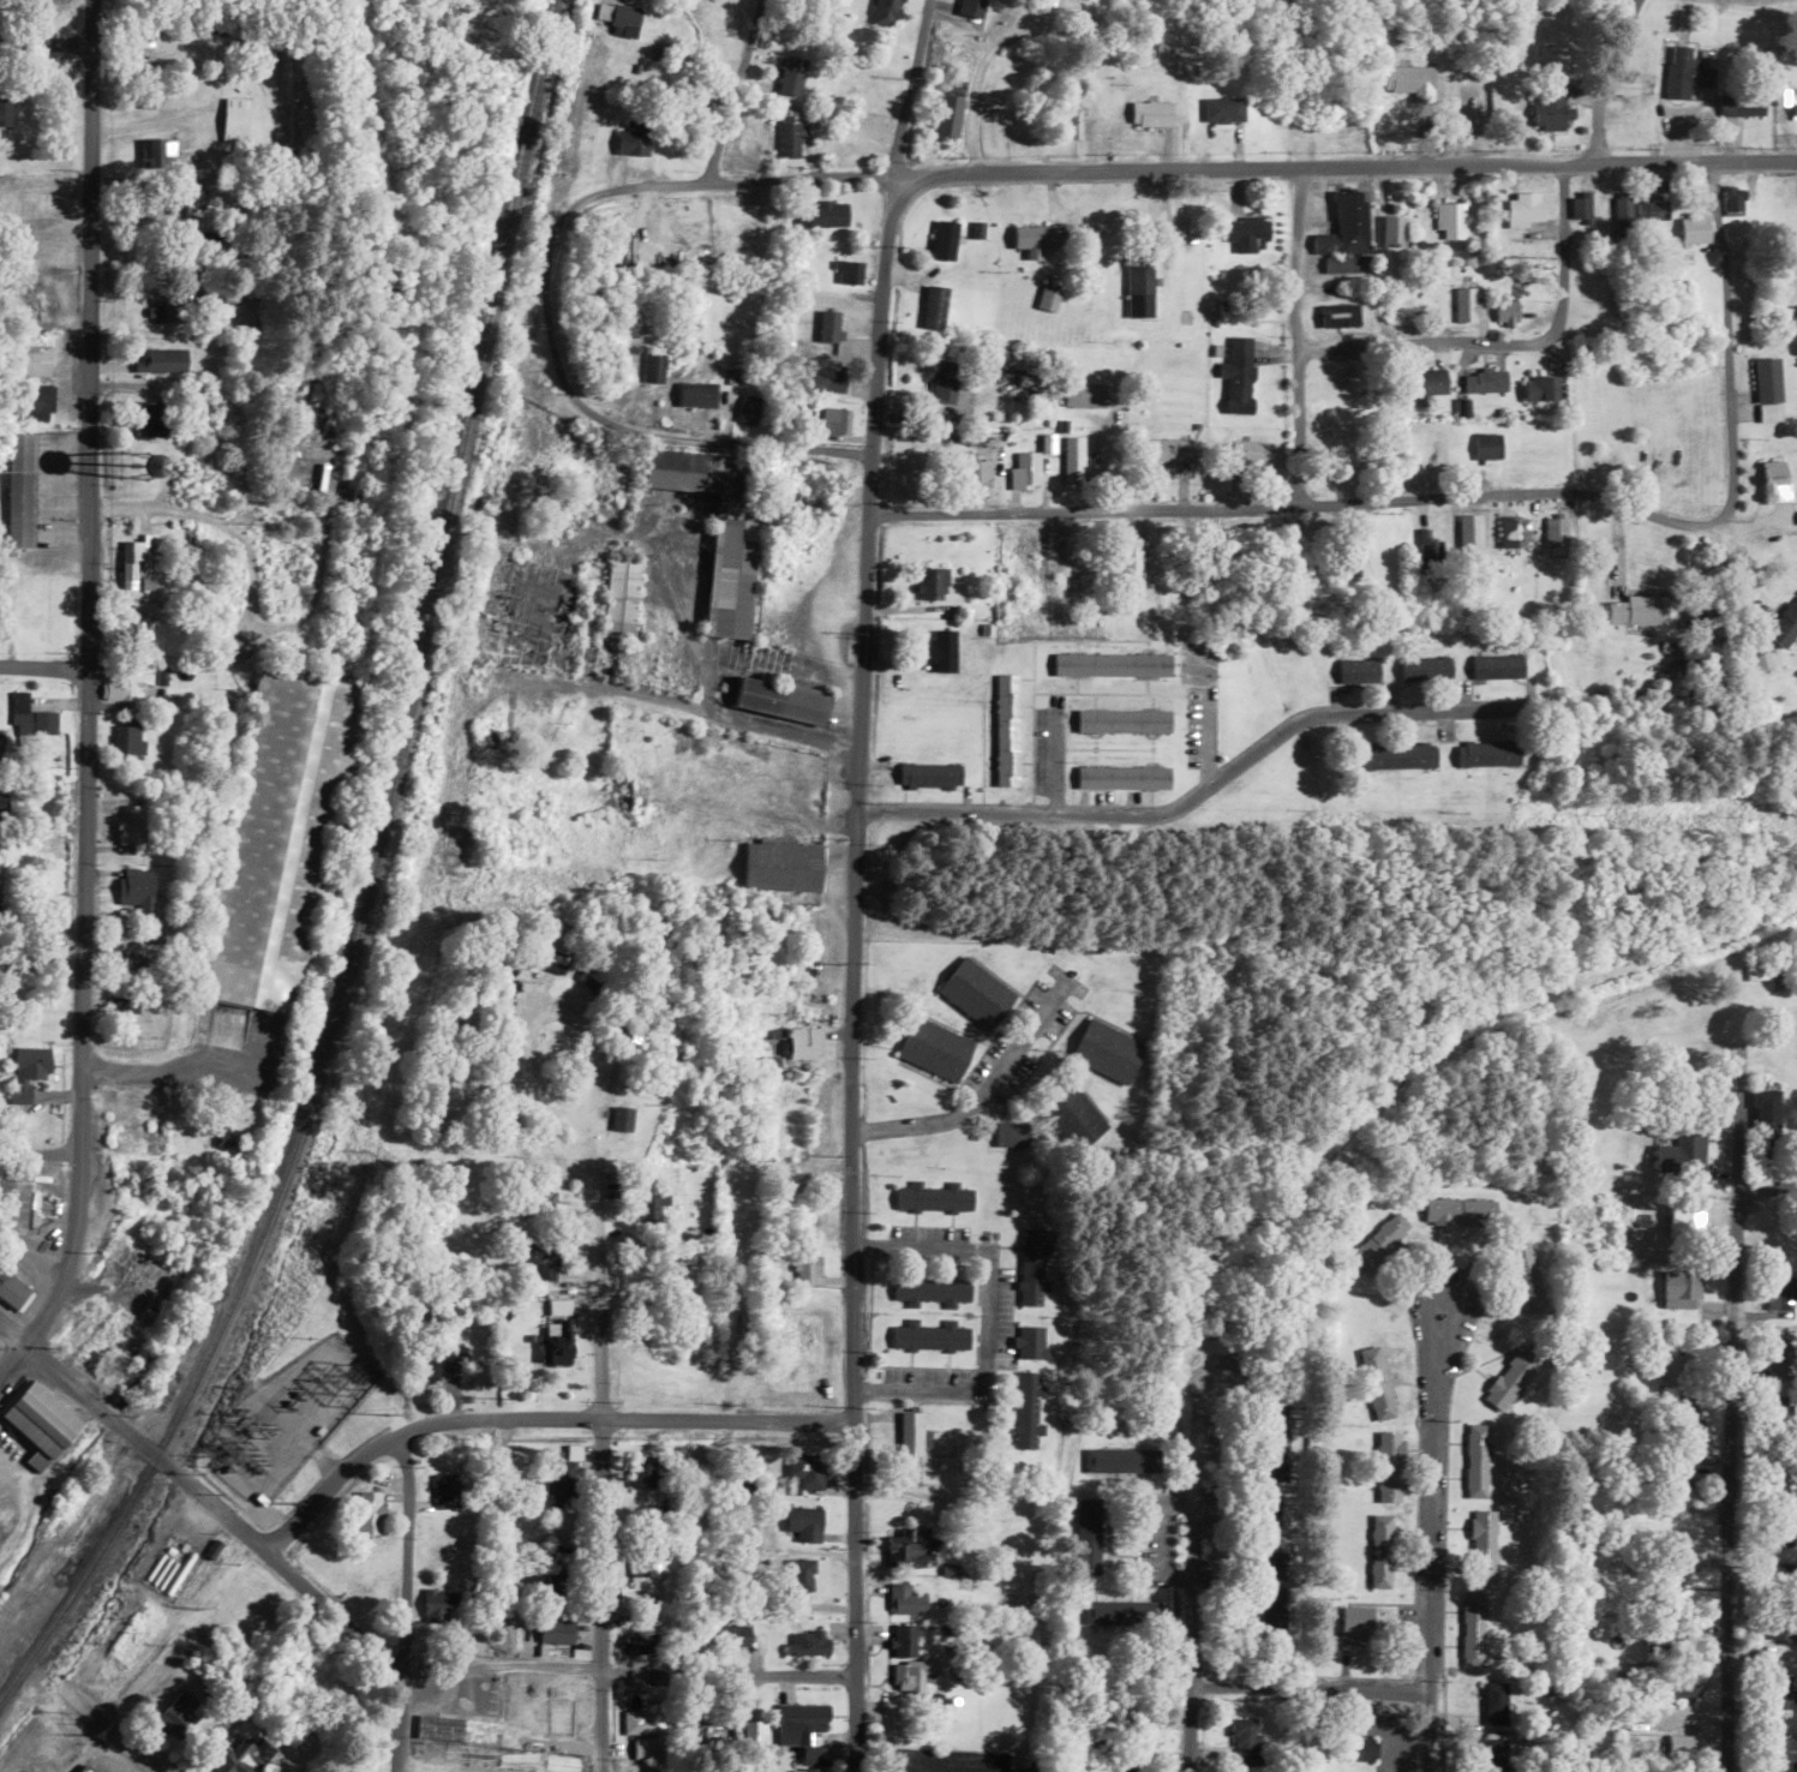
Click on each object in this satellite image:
building: (1042, 4)
building: (971, 7)
building: (886, 12)
building: (624, 20)
road: (44, 42)
building: (1683, 76)
building: (791, 77)
road: (1598, 77)
building: (1409, 82)
building: (1624, 84)
road: (732, 91)
building: (954, 94)
building: (1743, 103)
building: (1223, 110)
building: (5, 112)
building: (1549, 112)
building: (1151, 114)
building: (234, 120)
building: (1068, 121)
building: (790, 137)
building: (633, 139)
building: (742, 150)
building: (152, 152)
road: (1342, 167)
building: (1733, 198)
building: (1581, 209)
building: (1525, 210)
building: (1653, 210)
building: (826, 214)
building: (1622, 216)
building: (1449, 222)
building: (1347, 226)
building: (1695, 228)
building: (1394, 232)
building: (1247, 234)
building: (1038, 237)
building: (944, 241)
building: (1347, 264)
building: (847, 273)
building: (1139, 283)
road: (543, 294)
building: (1047, 300)
building: (1464, 306)
building: (934, 309)
building: (158, 311)
building: (1505, 312)
road: (1294, 336)
road: (1509, 342)
building: (157, 349)
building: (30, 360)
building: (1018, 360)
building: (1239, 376)
building: (828, 382)
building: (944, 382)
building: (1430, 382)
building: (1485, 382)
building: (651, 383)
building: (1541, 389)
building: (1768, 390)
building: (696, 395)
building: (1085, 396)
building: (32, 402)
building: (747, 412)
building: (145, 419)
building: (837, 421)
building: (1488, 447)
building: (1168, 450)
building: (1251, 454)
building: (1073, 461)
building: (1025, 472)
building: (694, 473)
building: (975, 474)
building: (1775, 481)
building: (19, 491)
road: (1475, 495)
building: (1470, 533)
building: (1514, 533)
building: (1428, 534)
building: (1792, 540)
building: (1023, 547)
building: (1061, 550)
building: (1349, 558)
building: (137, 563)
building: (619, 591)
building: (729, 605)
building: (1637, 610)
building: (1786, 624)
building: (944, 649)
building: (1112, 663)
building: (1497, 665)
road: (43, 668)
building: (1425, 668)
building: (1359, 670)
road: (85, 695)
building: (780, 699)
building: (30, 716)
building: (1124, 720)
building: (1006, 729)
building: (127, 735)
building: (502, 737)
building: (1487, 753)
building: (1397, 754)
road: (1049, 759)
building: (929, 773)
building: (1122, 776)
building: (621, 789)
road: (1194, 795)
building: (4, 806)
building: (132, 824)
building: (783, 864)
railway: (365, 880)
road: (855, 882)
building: (137, 888)
railway: (376, 890)
building: (555, 959)
building: (126, 963)
building: (1755, 968)
building: (589, 977)
building: (976, 993)
building: (793, 1043)
building: (935, 1048)
building: (1107, 1050)
building: (29, 1067)
road: (982, 1090)
building: (1068, 1112)
building: (1766, 1123)
building: (1012, 1133)
building: (148, 1138)
building: (1683, 1150)
road: (38, 1154)
building: (18, 1190)
road: (1759, 1191)
building: (933, 1197)
building: (543, 1198)
building: (652, 1208)
building: (1460, 1210)
building: (1684, 1217)
building: (1376, 1243)
building: (537, 1256)
building: (1031, 1267)
building: (807, 1270)
building: (1525, 1275)
building: (932, 1289)
building: (1681, 1289)
building: (1780, 1292)
road: (982, 1315)
building: (930, 1335)
building: (558, 1341)
building: (1031, 1342)
building: (436, 1359)
building: (1779, 1359)
building: (1677, 1372)
building: (1511, 1376)
road: (1719, 1379)
building: (1376, 1382)
road: (77, 1388)
building: (1026, 1409)
road: (534, 1420)
building: (40, 1423)
building: (910, 1430)
building: (1276, 1442)
road: (598, 1448)
building: (1476, 1460)
building: (1121, 1461)
building: (1390, 1466)
building: (804, 1469)
building: (641, 1471)
building: (742, 1478)
building: (562, 1479)
building: (445, 1490)
building: (369, 1513)
building: (1269, 1517)
road: (1194, 1520)
building: (1089, 1537)
road: (1430, 1545)
building: (1482, 1545)
building: (908, 1546)
building: (803, 1549)
building: (1380, 1551)
building: (648, 1561)
building: (559, 1581)
building: (1272, 1588)
building: (624, 1597)
building: (905, 1599)
road: (401, 1603)
building: (437, 1605)
building: (1112, 1614)
road: (5, 1627)
building: (1354, 1627)
building: (1472, 1629)
building: (1781, 1629)
building: (556, 1630)
building: (641, 1642)
building: (807, 1642)
building: (908, 1658)
road: (460, 1675)
building: (1679, 1688)
road: (1307, 1689)
building: (1780, 1695)
building: (1494, 1704)
building: (178, 1716)
building: (799, 1722)
building: (642, 1723)
building: (456, 1728)
road: (1186, 1729)
building: (1136, 1737)
building: (1242, 1744)
road: (139, 1747)
building: (648, 1748)
building: (1360, 1748)
building: (1493, 1754)
building: (1783, 1754)
building: (239, 1759)
building: (809, 1760)
building: (85, 1768)

